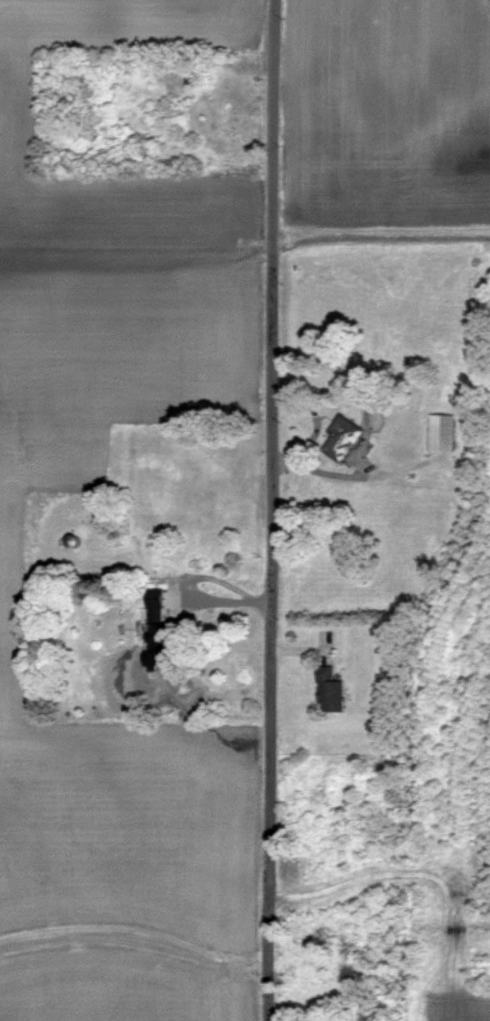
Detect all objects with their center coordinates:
road: (275, 128)
building: (442, 432)
building: (344, 437)
building: (160, 621)
road: (272, 639)
building: (331, 690)

